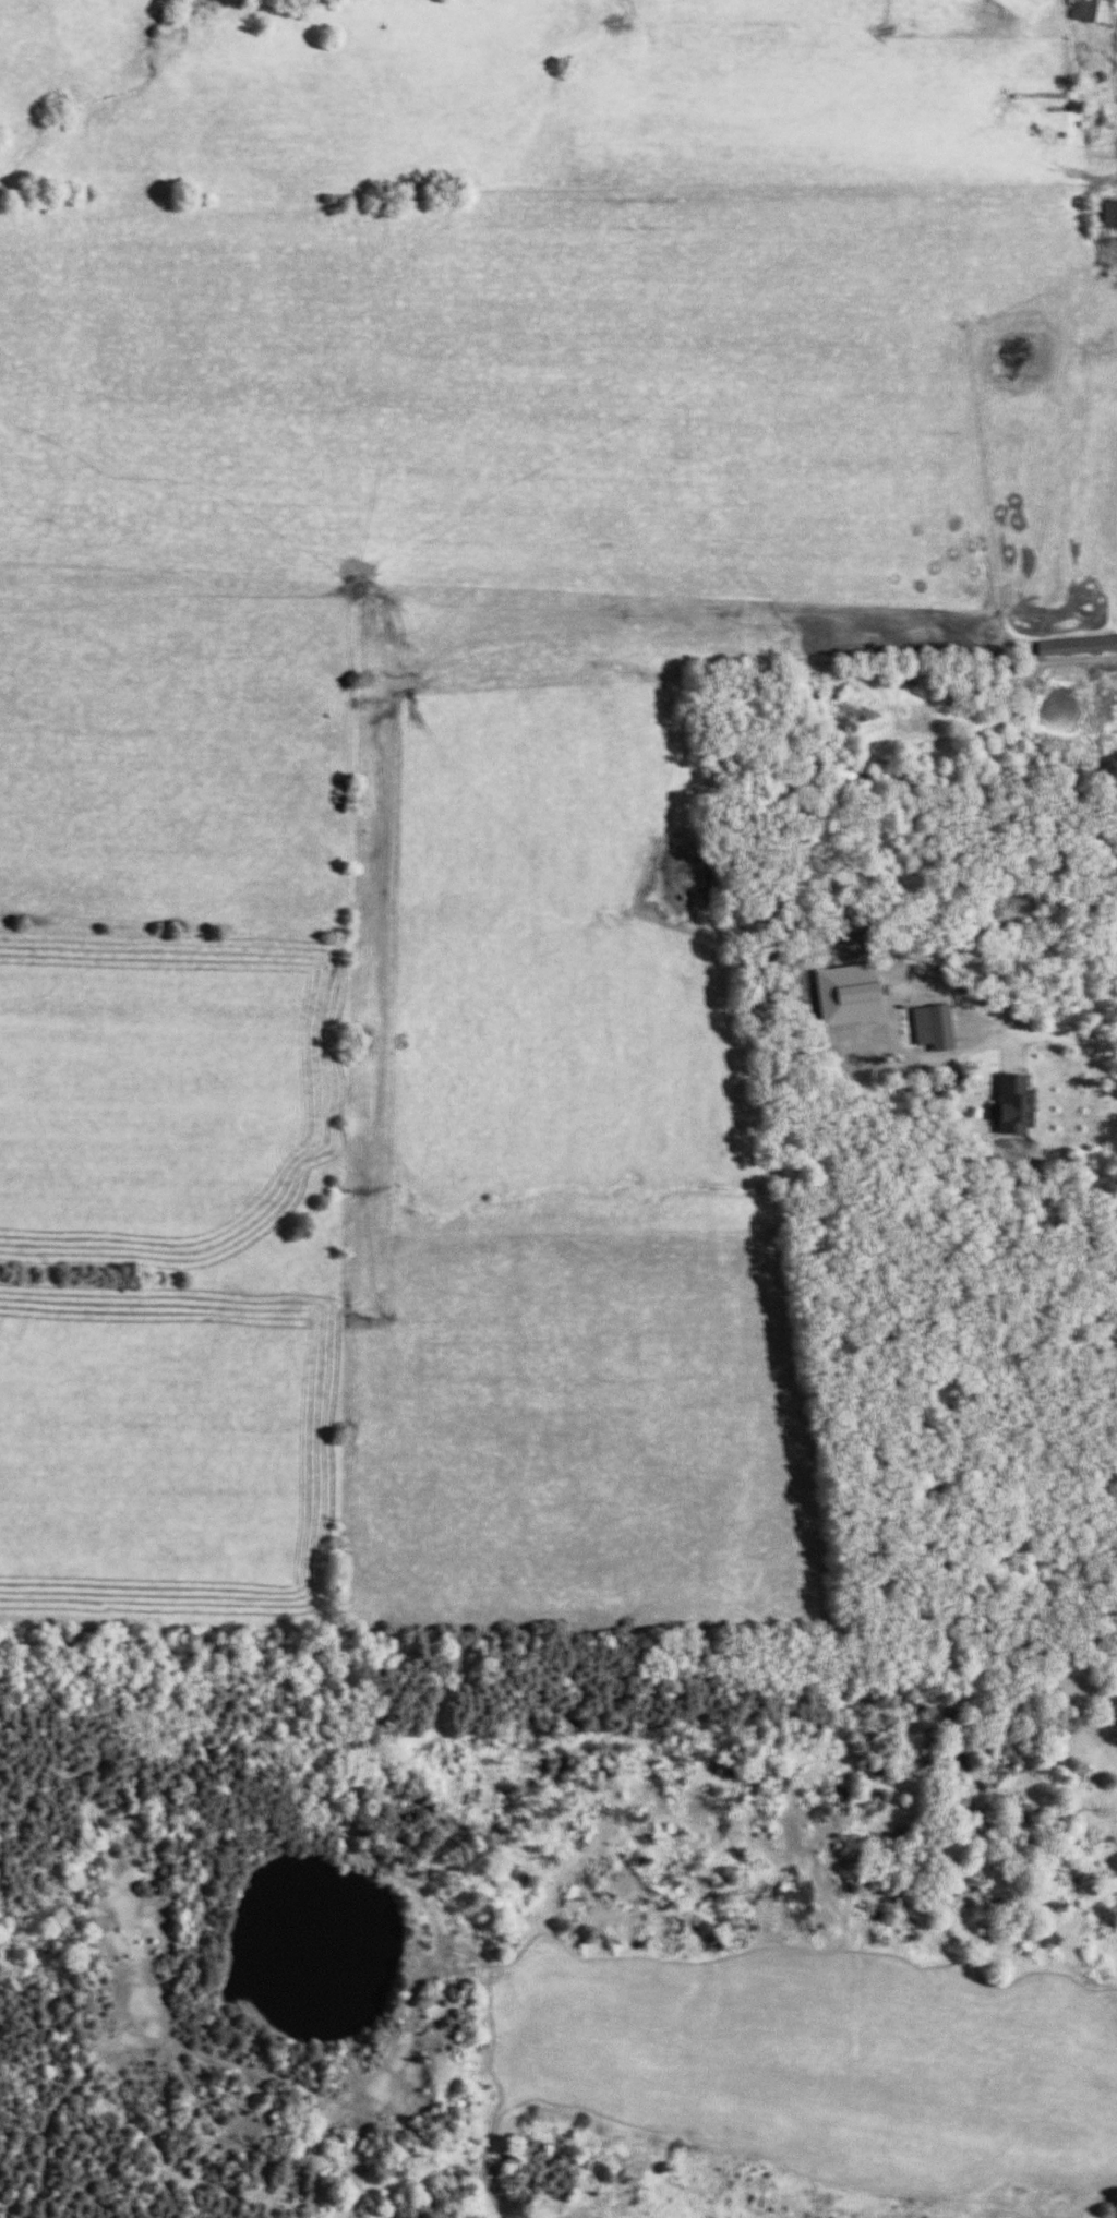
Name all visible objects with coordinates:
building: (1088, 11)
building: (1092, 125)
building: (1107, 215)
building: (1074, 646)
building: (929, 1028)
building: (1010, 1105)

